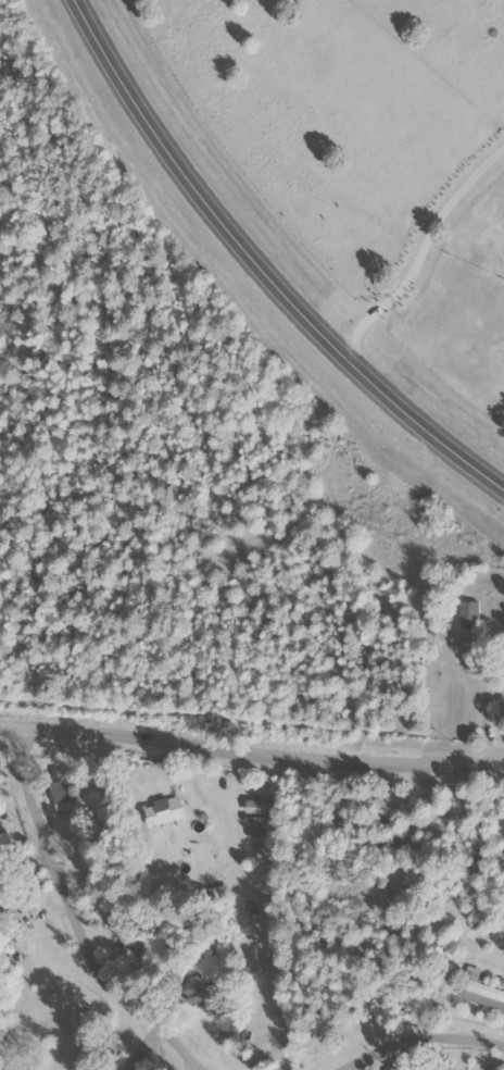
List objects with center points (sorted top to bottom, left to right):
road: (259, 270)
building: (471, 617)
road: (251, 752)
building: (62, 791)
building: (167, 812)
building: (0, 851)
road: (73, 917)
building: (481, 992)
building: (202, 994)
road: (419, 1036)
building: (147, 1063)
building: (401, 1069)

